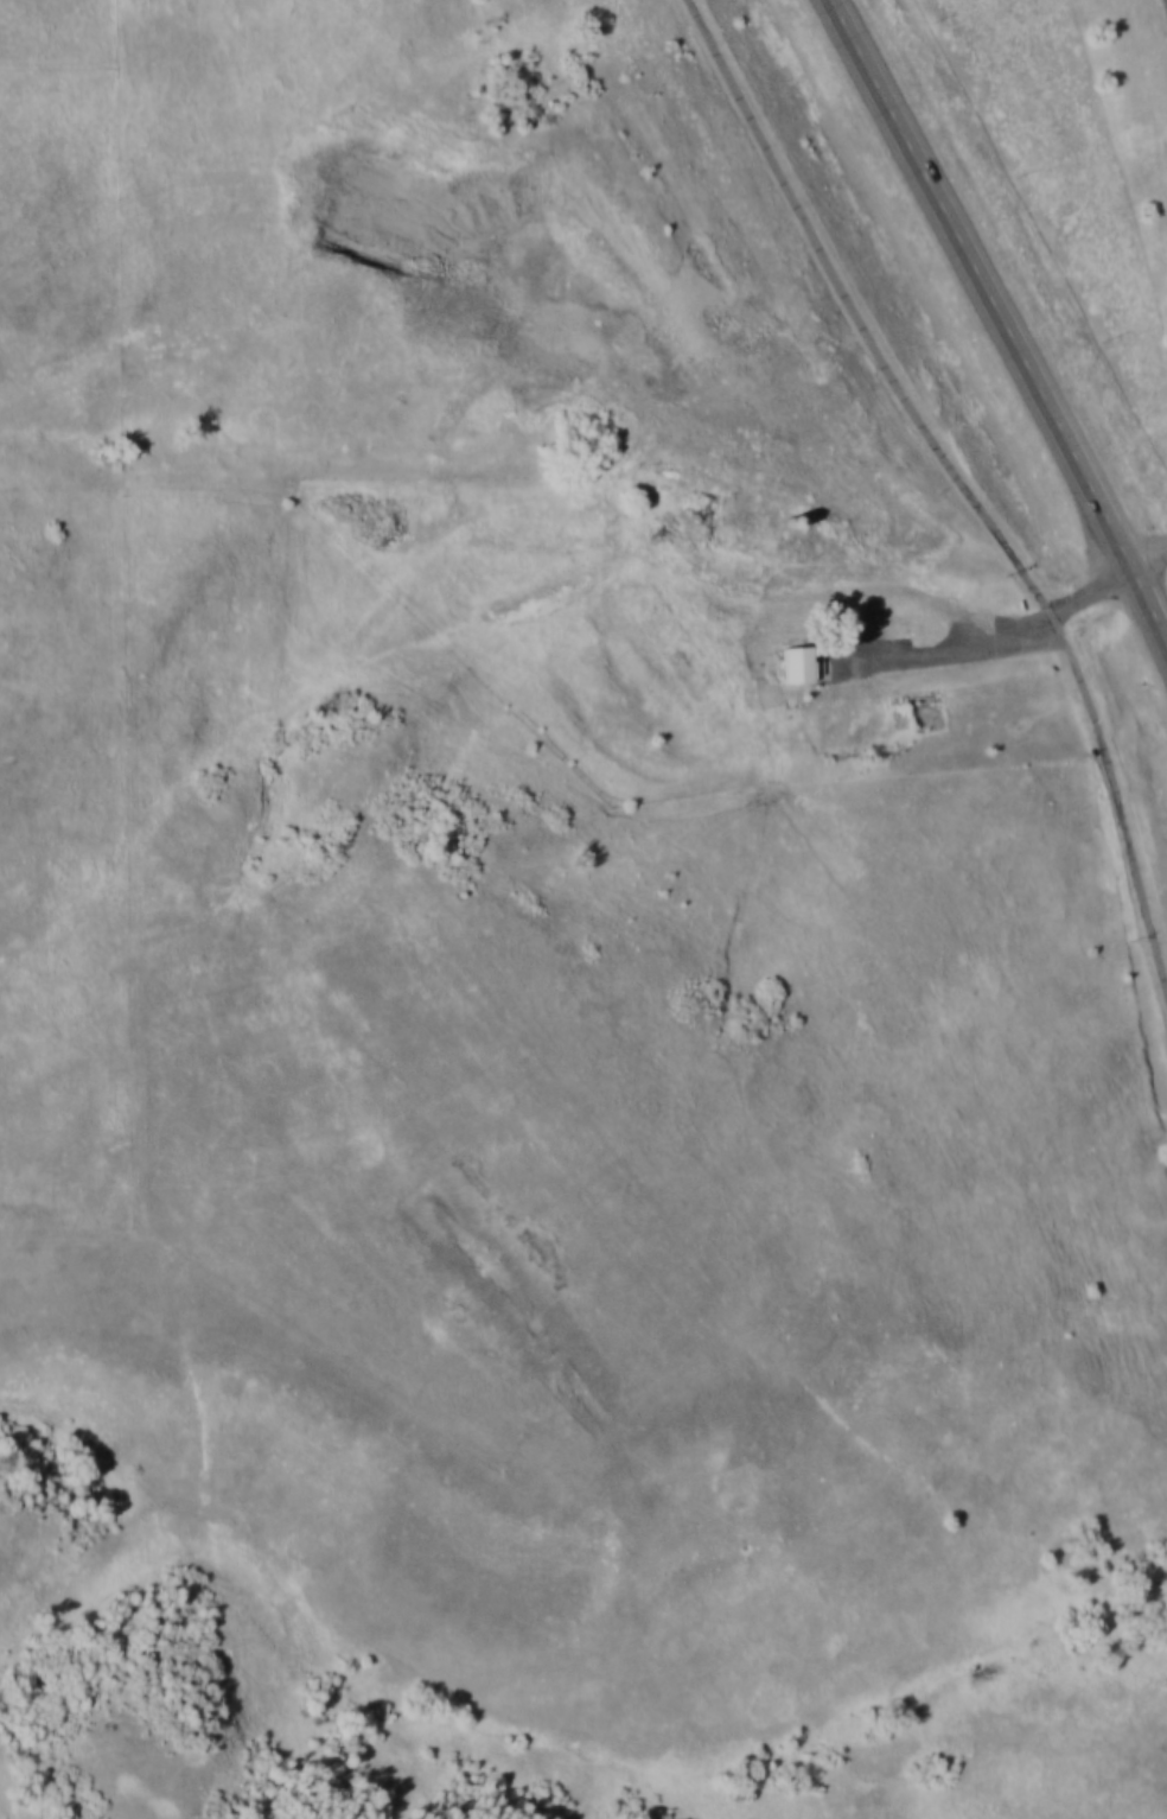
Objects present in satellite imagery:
road: (997, 322)
road: (959, 481)
road: (1057, 611)
building: (798, 662)

